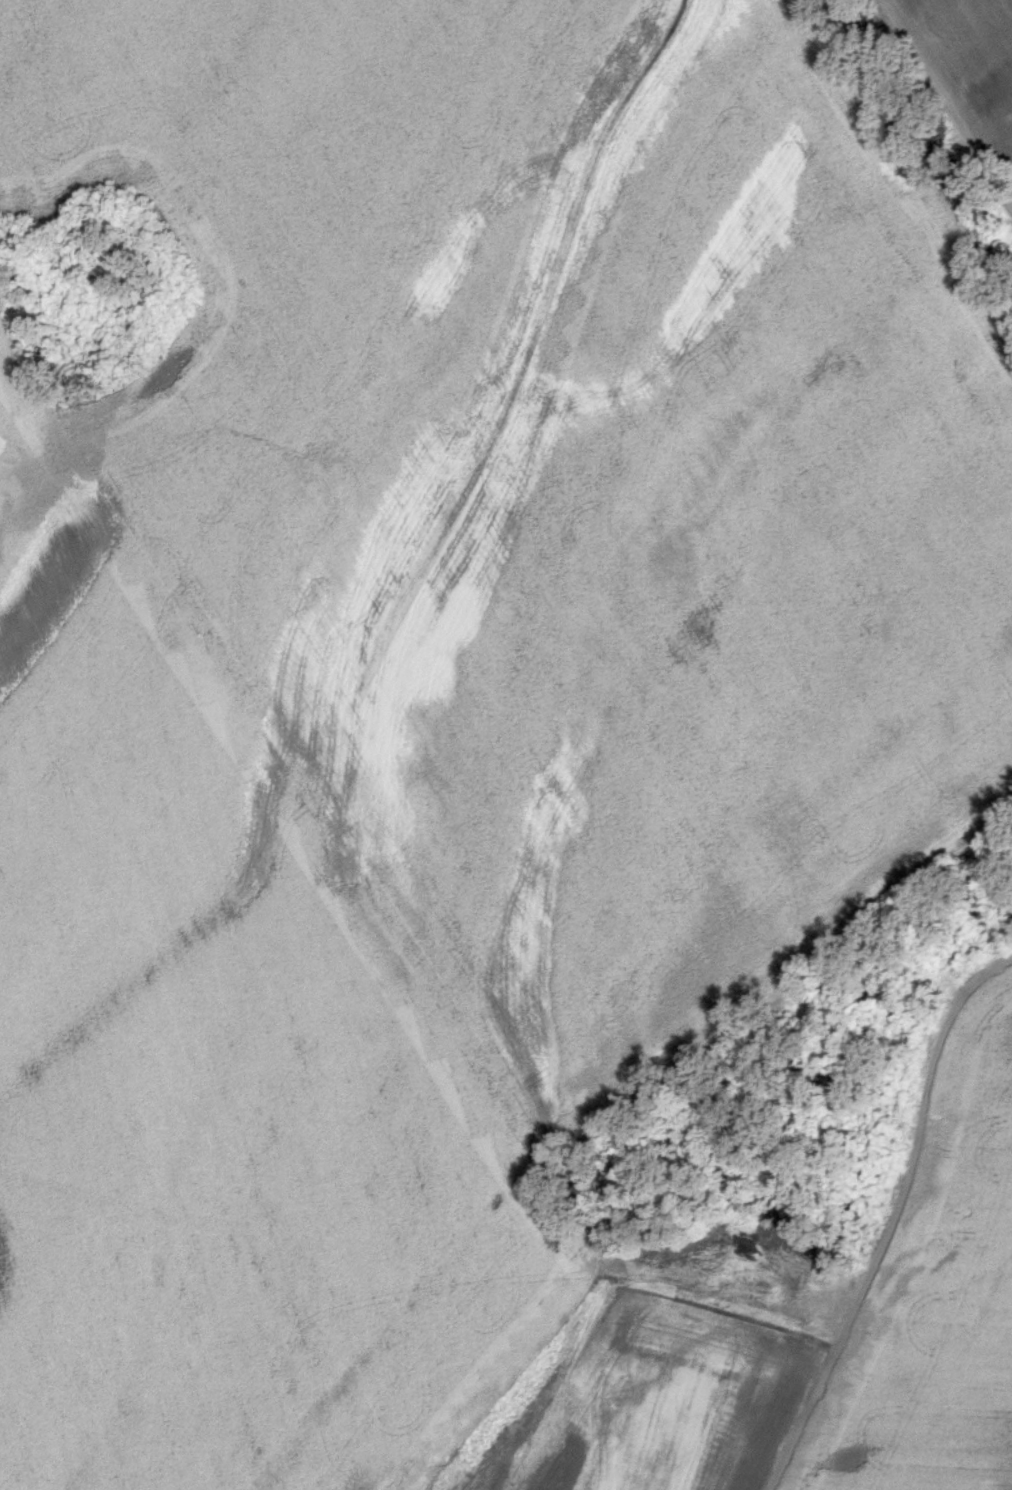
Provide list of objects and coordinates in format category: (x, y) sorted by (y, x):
crop: (966, 73)
road: (945, 102)
crop: (95, 288)
crop: (484, 744)
road: (893, 1216)
road: (620, 1295)

